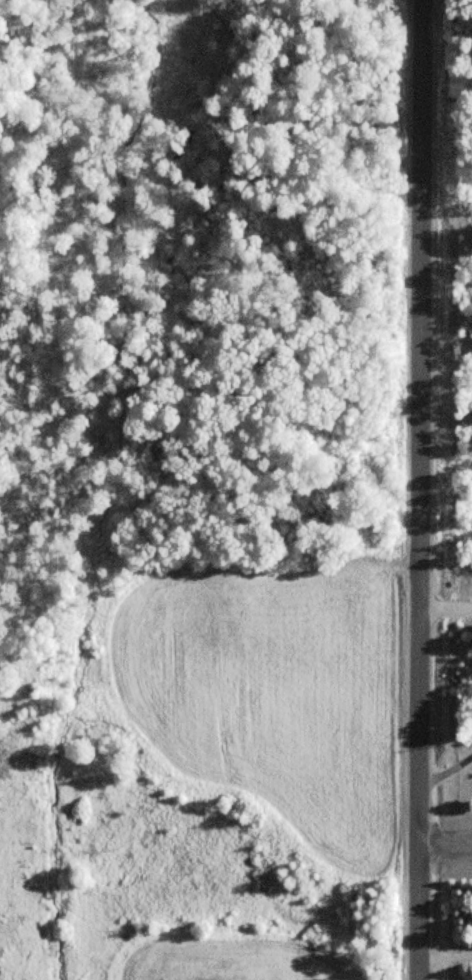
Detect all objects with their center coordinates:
road: (417, 489)
road: (443, 844)

